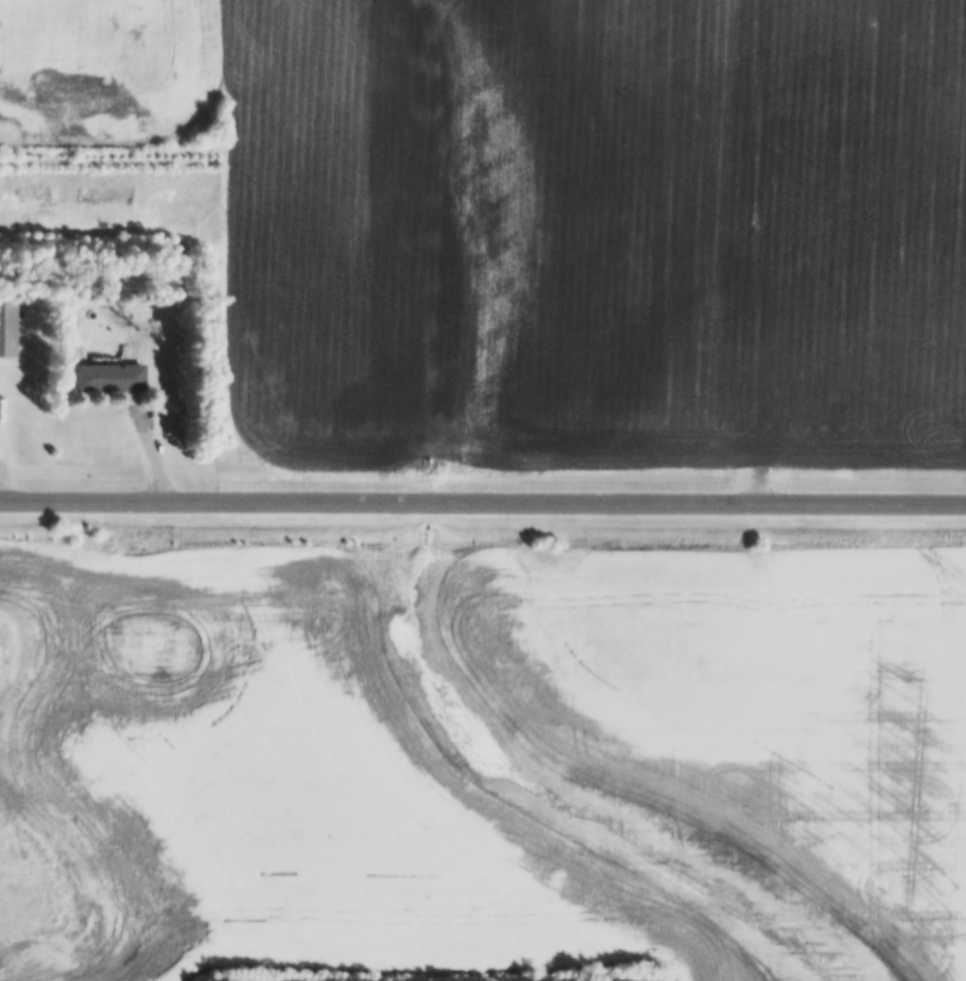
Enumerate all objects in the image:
building: (9, 328)
building: (113, 375)
road: (483, 501)

